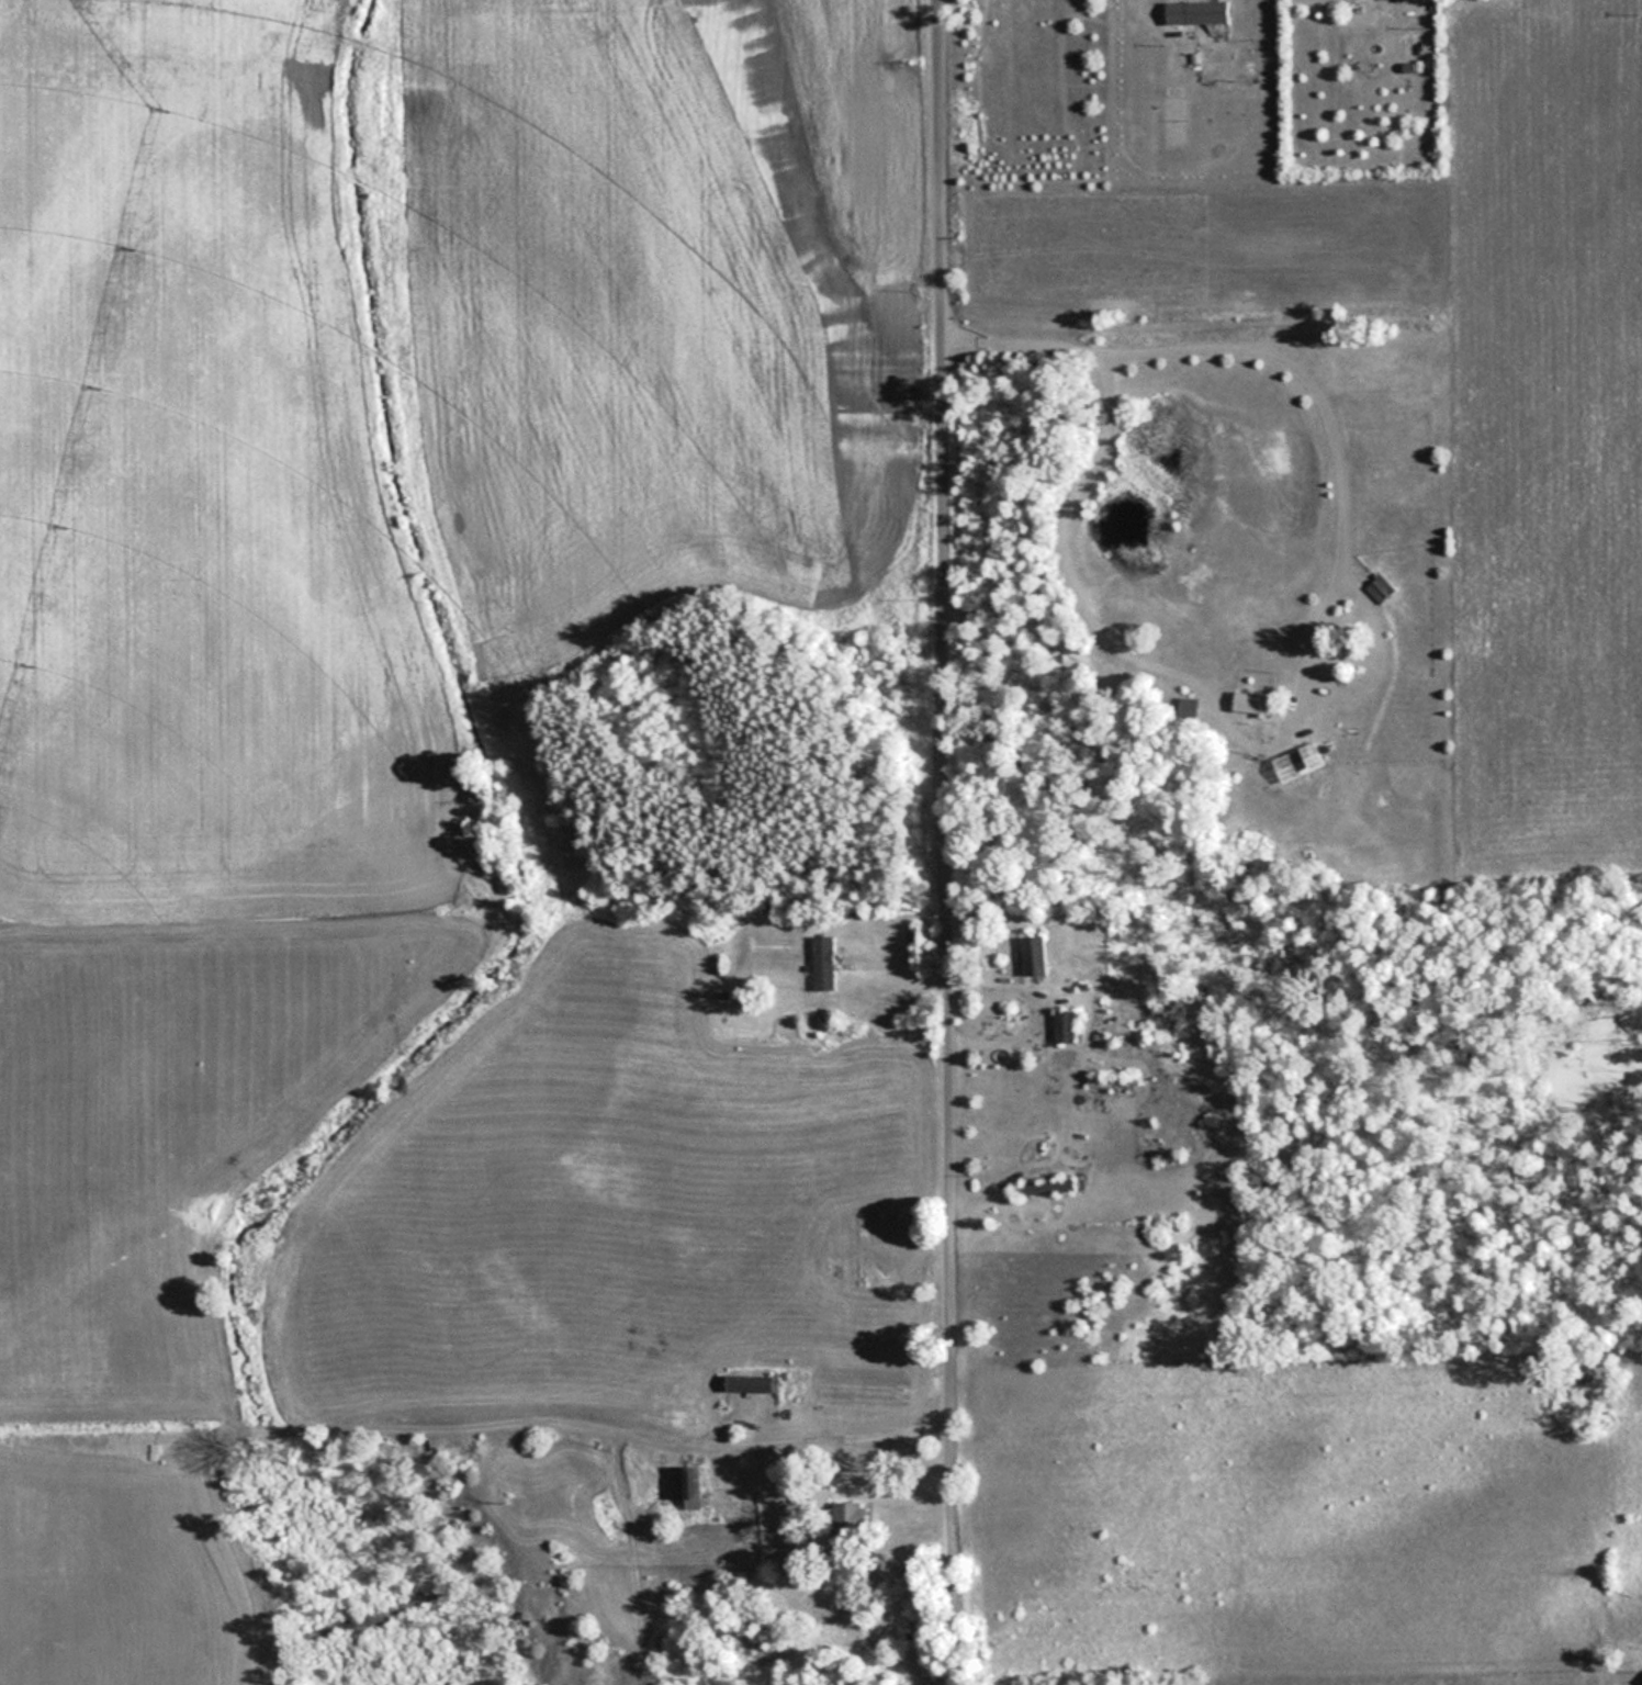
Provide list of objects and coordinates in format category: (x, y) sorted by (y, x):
building: (1197, 12)
building: (1380, 588)
building: (1252, 703)
building: (1292, 765)
road: (945, 842)
building: (1035, 955)
building: (823, 963)
road: (1028, 1000)
building: (1065, 1025)
building: (1113, 1082)
building: (1045, 1186)
building: (751, 1383)
building: (693, 1487)
building: (854, 1519)

